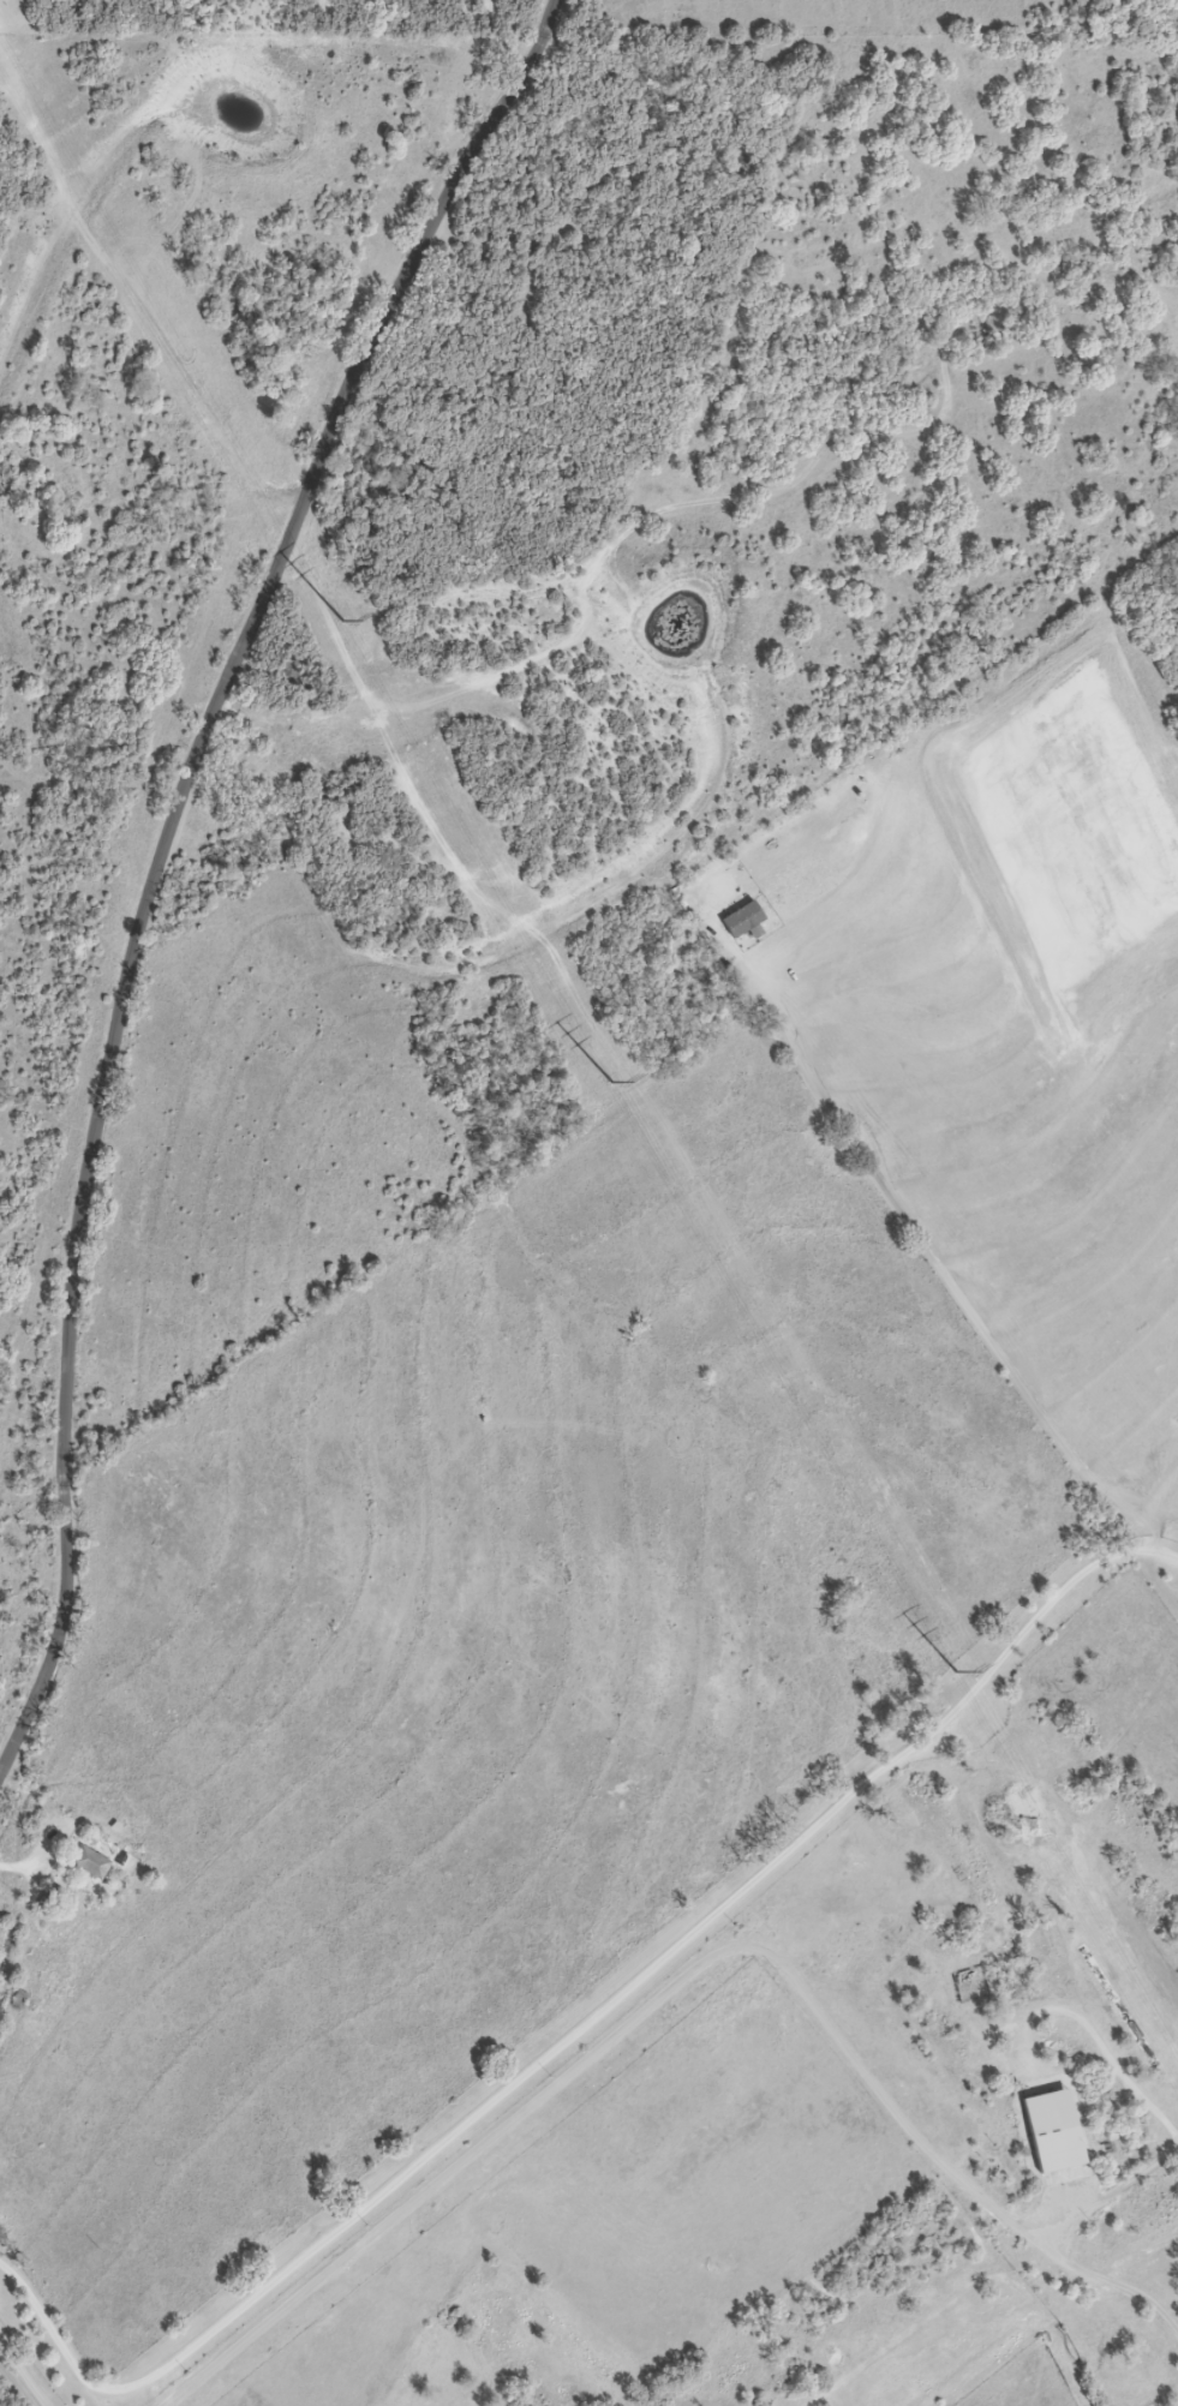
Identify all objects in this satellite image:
power tower: (345, 623)
road: (166, 858)
power tower: (611, 1082)
power tower: (957, 1675)
building: (91, 1865)
building: (50, 1899)
road: (682, 1989)
road: (585, 2036)
building: (1057, 2131)
road: (26, 2368)
road: (17, 2381)

